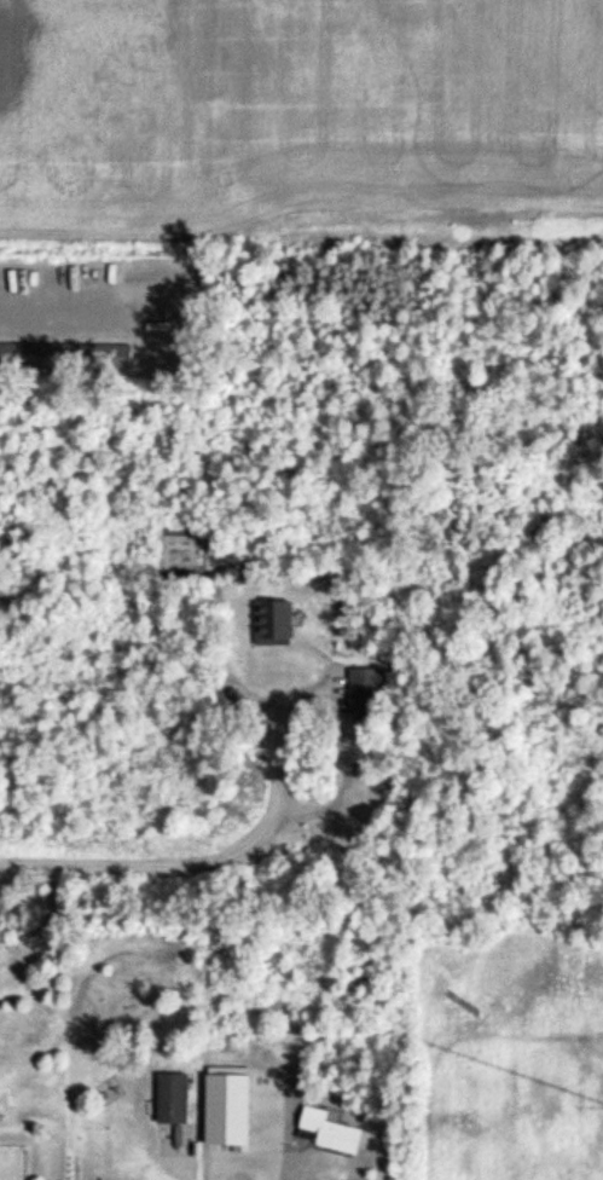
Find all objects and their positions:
road: (62, 308)
building: (30, 355)
building: (105, 357)
building: (274, 625)
building: (367, 699)
road: (226, 844)
building: (174, 1100)
road: (290, 1155)

